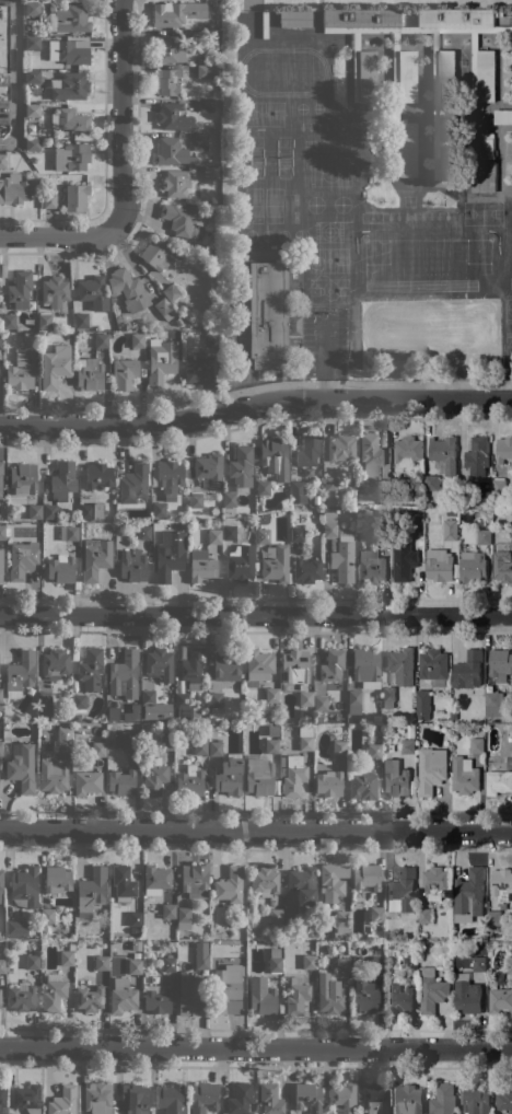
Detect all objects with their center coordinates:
building: (32, 9)
building: (179, 13)
building: (253, 19)
building: (294, 19)
building: (68, 20)
building: (213, 36)
building: (198, 37)
building: (3, 38)
building: (32, 43)
building: (168, 49)
building: (68, 53)
building: (446, 67)
building: (207, 71)
road: (14, 76)
building: (32, 77)
building: (166, 81)
building: (70, 86)
building: (364, 91)
building: (3, 93)
building: (217, 94)
building: (206, 105)
building: (32, 111)
road: (120, 115)
building: (168, 116)
building: (503, 117)
building: (69, 120)
building: (32, 143)
building: (207, 144)
building: (171, 152)
building: (71, 156)
road: (104, 156)
building: (2, 161)
building: (210, 174)
building: (484, 176)
building: (176, 183)
building: (13, 189)
building: (75, 197)
building: (47, 200)
building: (212, 211)
building: (182, 219)
road: (58, 235)
building: (216, 254)
building: (160, 255)
building: (20, 289)
building: (128, 289)
building: (54, 291)
building: (92, 292)
building: (171, 292)
building: (164, 309)
building: (0, 310)
building: (268, 315)
building: (9, 321)
building: (44, 321)
building: (80, 321)
building: (102, 339)
building: (213, 339)
building: (30, 340)
building: (0, 341)
building: (155, 356)
building: (55, 364)
building: (124, 371)
building: (199, 371)
building: (20, 372)
building: (90, 373)
road: (357, 383)
road: (255, 403)
building: (341, 449)
building: (408, 449)
building: (503, 450)
building: (309, 451)
building: (444, 453)
building: (371, 454)
building: (477, 456)
building: (275, 460)
building: (241, 466)
building: (208, 469)
building: (98, 475)
building: (0, 476)
building: (23, 478)
building: (167, 478)
building: (63, 480)
building: (133, 483)
building: (431, 483)
building: (398, 485)
building: (499, 486)
building: (263, 487)
building: (383, 487)
building: (331, 488)
building: (465, 489)
building: (298, 491)
building: (229, 499)
building: (196, 500)
building: (384, 500)
building: (286, 502)
building: (159, 510)
building: (35, 511)
building: (50, 511)
building: (91, 511)
building: (452, 513)
building: (9, 518)
building: (329, 524)
building: (417, 529)
building: (451, 530)
building: (2, 532)
building: (143, 532)
building: (229, 532)
building: (383, 532)
building: (69, 533)
building: (263, 534)
building: (296, 534)
building: (511, 534)
building: (214, 536)
building: (484, 536)
building: (170, 555)
building: (344, 555)
building: (96, 557)
building: (22, 559)
building: (404, 560)
building: (502, 562)
building: (276, 564)
building: (241, 565)
building: (439, 565)
building: (0, 566)
building: (133, 566)
building: (201, 566)
building: (371, 566)
building: (472, 567)
building: (61, 568)
building: (306, 570)
road: (256, 615)
building: (159, 663)
building: (55, 664)
building: (258, 664)
building: (433, 664)
building: (226, 665)
building: (331, 665)
building: (402, 665)
building: (193, 666)
building: (294, 666)
building: (500, 666)
building: (365, 668)
building: (91, 669)
building: (468, 670)
building: (20, 674)
building: (124, 674)
building: (511, 682)
building: (271, 695)
building: (0, 696)
building: (148, 696)
building: (387, 696)
building: (182, 698)
building: (305, 698)
building: (216, 699)
building: (353, 701)
building: (79, 703)
building: (321, 703)
building: (45, 704)
building: (422, 704)
building: (493, 704)
building: (201, 712)
building: (77, 718)
building: (40, 719)
building: (49, 726)
building: (373, 728)
building: (272, 730)
building: (97, 734)
building: (305, 738)
building: (63, 739)
building: (126, 740)
building: (165, 742)
building: (271, 745)
building: (477, 745)
building: (408, 746)
building: (200, 747)
building: (216, 747)
building: (339, 747)
building: (508, 747)
building: (98, 749)
building: (0, 750)
building: (373, 751)
building: (21, 767)
building: (431, 769)
building: (51, 773)
building: (259, 775)
building: (292, 775)
building: (229, 776)
building: (465, 776)
building: (154, 777)
building: (395, 778)
building: (498, 778)
building: (121, 781)
building: (86, 782)
building: (361, 782)
building: (189, 784)
building: (328, 784)
road: (256, 828)
building: (365, 877)
building: (155, 879)
building: (57, 880)
building: (194, 881)
building: (264, 881)
building: (333, 881)
building: (434, 882)
building: (123, 883)
building: (501, 883)
building: (302, 884)
building: (229, 885)
building: (1, 886)
building: (24, 887)
building: (91, 891)
building: (402, 892)
building: (469, 896)
building: (168, 910)
building: (105, 912)
building: (289, 912)
building: (375, 914)
building: (47, 915)
building: (275, 916)
building: (426, 916)
building: (183, 917)
building: (135, 918)
building: (493, 918)
building: (342, 924)
building: (16, 928)
building: (70, 947)
building: (138, 951)
building: (345, 951)
building: (200, 955)
building: (67, 958)
building: (32, 961)
building: (309, 962)
building: (101, 963)
building: (274, 963)
building: (168, 964)
building: (410, 964)
building: (479, 964)
building: (509, 964)
building: (2, 965)
building: (341, 965)
building: (375, 965)
building: (135, 966)
building: (225, 985)
building: (431, 989)
building: (53, 993)
building: (467, 994)
building: (329, 995)
building: (123, 996)
building: (296, 996)
building: (21, 997)
building: (363, 997)
building: (189, 998)
building: (399, 998)
building: (89, 999)
building: (156, 999)
building: (263, 999)
building: (500, 1000)
road: (256, 1047)
building: (26, 1096)
building: (307, 1096)
building: (2, 1098)
building: (97, 1098)
building: (203, 1098)
building: (132, 1099)
building: (170, 1099)
building: (240, 1099)
building: (270, 1099)
building: (341, 1099)
building: (374, 1099)
building: (408, 1100)
building: (442, 1100)
building: (476, 1100)
building: (504, 1100)
building: (62, 1101)
building: (327, 1112)

